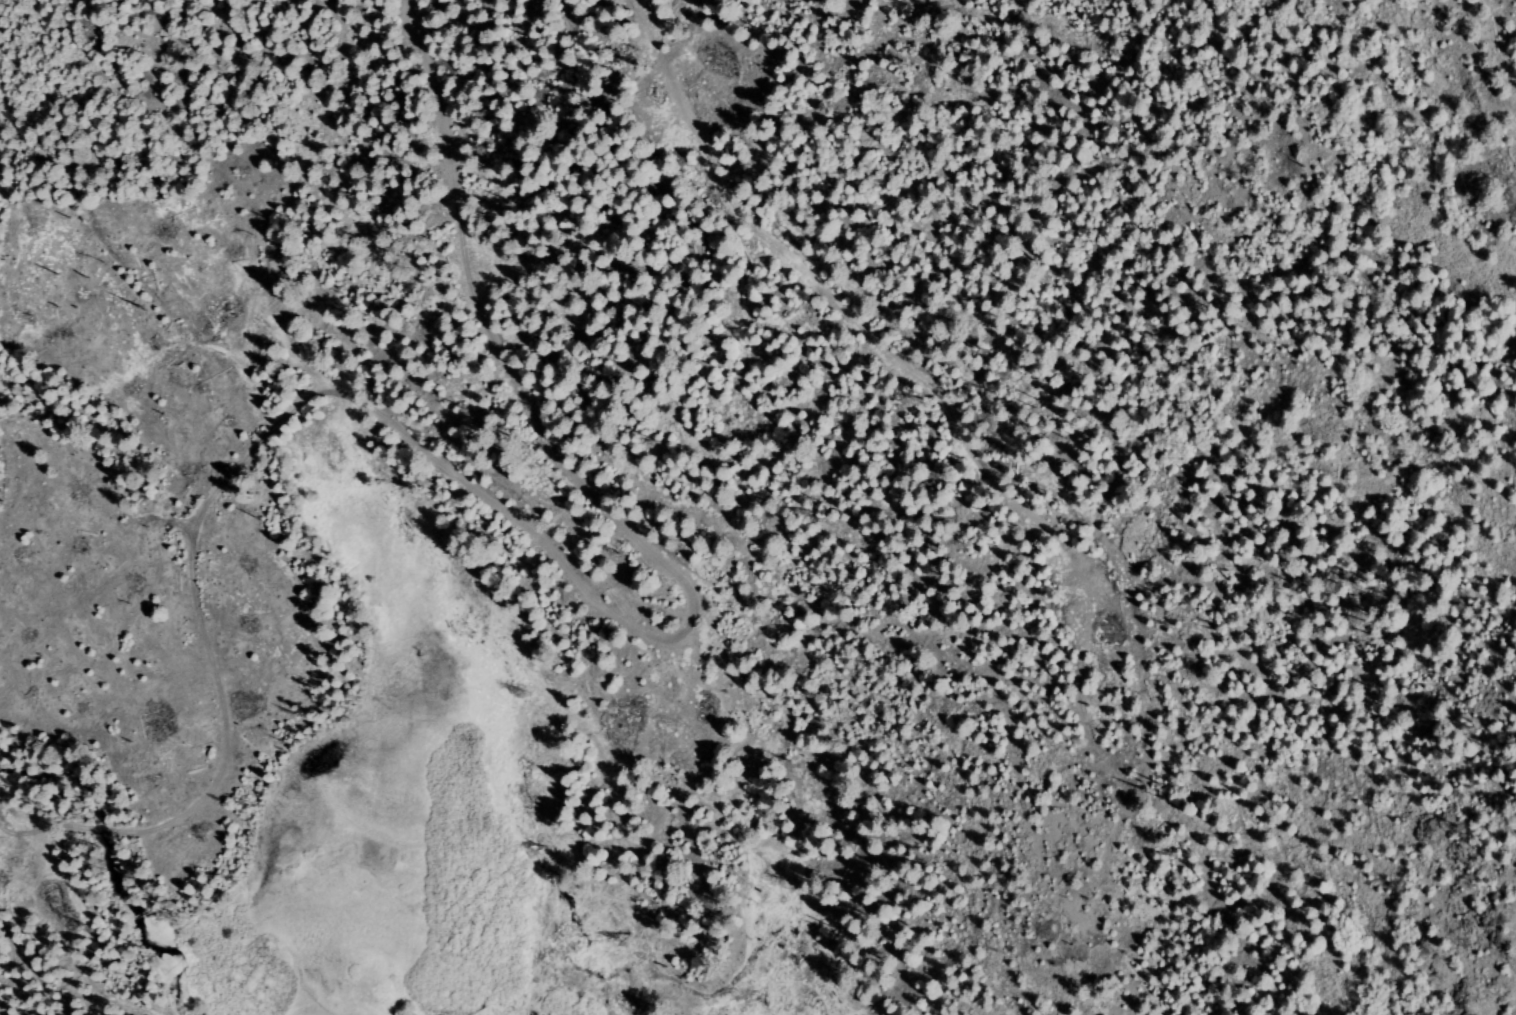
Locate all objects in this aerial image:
road: (576, 585)

